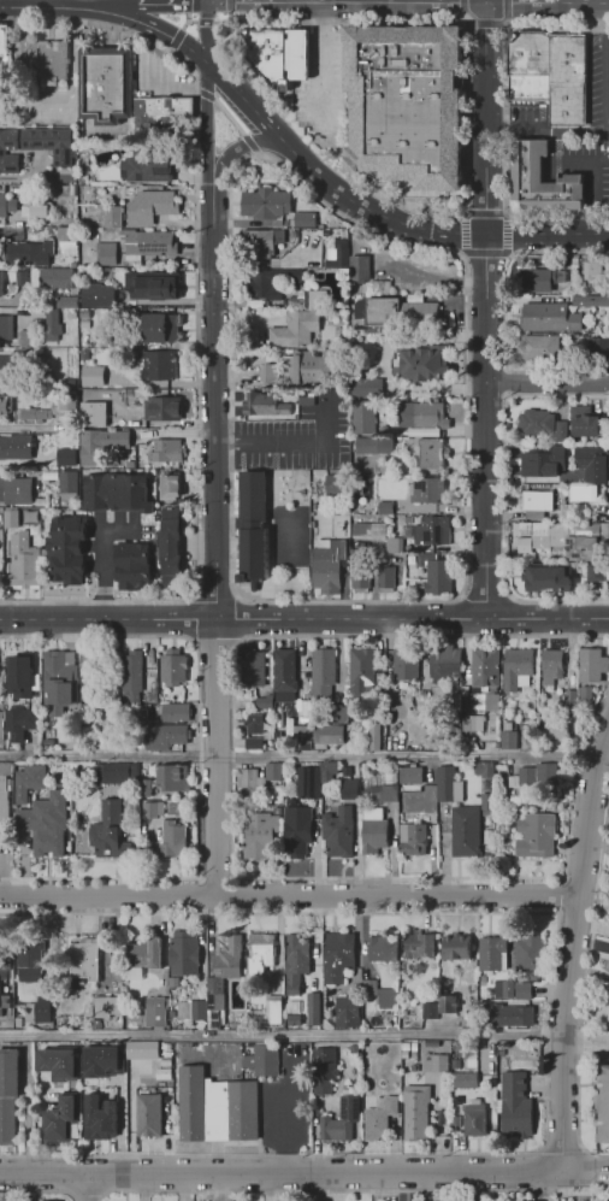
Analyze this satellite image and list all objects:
road: (485, 1)
road: (201, 2)
road: (206, 2)
road: (278, 2)
road: (407, 4)
traffic signals: (206, 5)
road: (59, 10)
road: (229, 10)
road: (162, 11)
road: (463, 19)
road: (201, 20)
road: (487, 23)
road: (182, 27)
road: (167, 34)
building: (4, 41)
road: (207, 42)
traffic signals: (184, 45)
building: (277, 54)
road: (463, 54)
building: (49, 63)
road: (318, 64)
road: (605, 67)
building: (551, 73)
building: (105, 84)
road: (202, 94)
building: (406, 105)
building: (160, 112)
road: (226, 117)
road: (548, 131)
building: (48, 141)
road: (249, 145)
road: (207, 148)
building: (2, 152)
road: (231, 154)
road: (296, 159)
building: (146, 170)
road: (504, 170)
building: (543, 182)
building: (266, 204)
building: (6, 206)
building: (153, 208)
building: (37, 210)
road: (504, 213)
building: (111, 216)
building: (306, 219)
road: (447, 229)
building: (66, 232)
road: (549, 232)
building: (150, 245)
building: (262, 245)
building: (24, 252)
building: (105, 254)
building: (336, 257)
building: (589, 265)
building: (360, 269)
building: (540, 278)
building: (54, 279)
building: (267, 282)
building: (0, 284)
building: (160, 284)
building: (97, 296)
building: (317, 298)
building: (590, 300)
building: (66, 302)
road: (490, 310)
building: (376, 311)
road: (504, 311)
road: (463, 312)
building: (549, 317)
building: (5, 326)
building: (52, 326)
road: (194, 326)
building: (161, 328)
building: (296, 329)
building: (23, 337)
building: (105, 342)
building: (537, 349)
building: (598, 349)
building: (421, 363)
building: (0, 364)
building: (162, 365)
building: (303, 370)
building: (90, 376)
building: (69, 382)
building: (118, 384)
building: (367, 387)
road: (549, 387)
building: (307, 401)
building: (64, 404)
building: (4, 406)
building: (266, 406)
building: (162, 408)
building: (35, 414)
building: (94, 414)
building: (421, 416)
building: (363, 417)
building: (533, 420)
road: (215, 423)
building: (589, 425)
building: (561, 431)
parking lot: (297, 437)
road: (291, 446)
building: (373, 446)
building: (14, 447)
building: (90, 451)
building: (164, 452)
building: (428, 453)
building: (64, 458)
building: (543, 461)
building: (592, 464)
road: (227, 475)
building: (333, 483)
building: (172, 485)
building: (67, 489)
building: (427, 491)
building: (16, 493)
building: (116, 493)
building: (583, 493)
building: (537, 504)
building: (385, 507)
building: (11, 519)
building: (250, 528)
building: (530, 528)
building: (367, 530)
building: (0, 531)
building: (431, 531)
building: (604, 531)
building: (540, 542)
building: (395, 544)
building: (172, 547)
building: (580, 549)
building: (66, 552)
building: (23, 559)
road: (104, 560)
building: (521, 561)
building: (132, 565)
building: (327, 566)
building: (437, 571)
building: (595, 575)
building: (361, 578)
building: (548, 578)
building: (385, 579)
road: (303, 618)
building: (593, 665)
building: (171, 666)
building: (400, 666)
building: (445, 666)
building: (552, 666)
building: (254, 667)
building: (362, 667)
building: (14, 669)
building: (485, 669)
building: (518, 669)
building: (285, 670)
building: (58, 671)
building: (324, 673)
building: (131, 677)
building: (573, 699)
building: (481, 701)
building: (266, 703)
building: (175, 712)
building: (140, 713)
building: (32, 717)
building: (1, 720)
building: (473, 723)
building: (253, 724)
building: (17, 726)
building: (0, 728)
building: (555, 730)
building: (373, 735)
building: (166, 736)
building: (300, 736)
building: (331, 736)
building: (363, 736)
building: (30, 738)
building: (508, 740)
building: (471, 743)
building: (253, 744)
road: (215, 756)
road: (298, 756)
building: (485, 770)
building: (331, 771)
building: (276, 772)
building: (116, 773)
building: (412, 775)
building: (172, 776)
building: (546, 776)
building: (35, 777)
building: (522, 779)
building: (445, 781)
building: (308, 783)
building: (252, 784)
building: (147, 789)
building: (350, 789)
building: (386, 793)
building: (4, 797)
building: (489, 803)
building: (110, 810)
building: (152, 810)
building: (463, 830)
building: (262, 832)
building: (298, 832)
building: (339, 832)
building: (373, 836)
building: (537, 836)
building: (491, 837)
building: (414, 838)
building: (48, 840)
building: (175, 841)
building: (108, 842)
road: (289, 894)
building: (420, 947)
building: (456, 947)
road: (573, 948)
building: (380, 949)
building: (528, 950)
building: (492, 952)
building: (147, 953)
building: (185, 953)
building: (260, 953)
building: (297, 953)
building: (339, 958)
building: (83, 961)
building: (608, 967)
building: (225, 969)
building: (28, 977)
road: (583, 982)
building: (504, 988)
building: (525, 990)
building: (379, 994)
building: (5, 1001)
building: (448, 1002)
building: (314, 1005)
building: (106, 1006)
building: (40, 1008)
building: (345, 1009)
building: (427, 1009)
building: (154, 1011)
building: (189, 1011)
building: (273, 1013)
building: (525, 1015)
road: (542, 1023)
road: (282, 1037)
road: (586, 1043)
building: (141, 1049)
building: (353, 1049)
building: (262, 1058)
building: (59, 1061)
building: (102, 1061)
building: (434, 1061)
building: (324, 1068)
building: (467, 1079)
building: (7, 1094)
building: (602, 1103)
building: (516, 1105)
building: (215, 1107)
building: (418, 1112)
building: (148, 1114)
building: (97, 1118)
building: (341, 1119)
building: (379, 1119)
building: (474, 1121)
building: (59, 1123)
road: (280, 1129)
road: (586, 1170)
road: (589, 1172)
road: (284, 1173)
road: (91, 1188)
road: (341, 1189)
road: (39, 1190)
building: (48, 1200)

